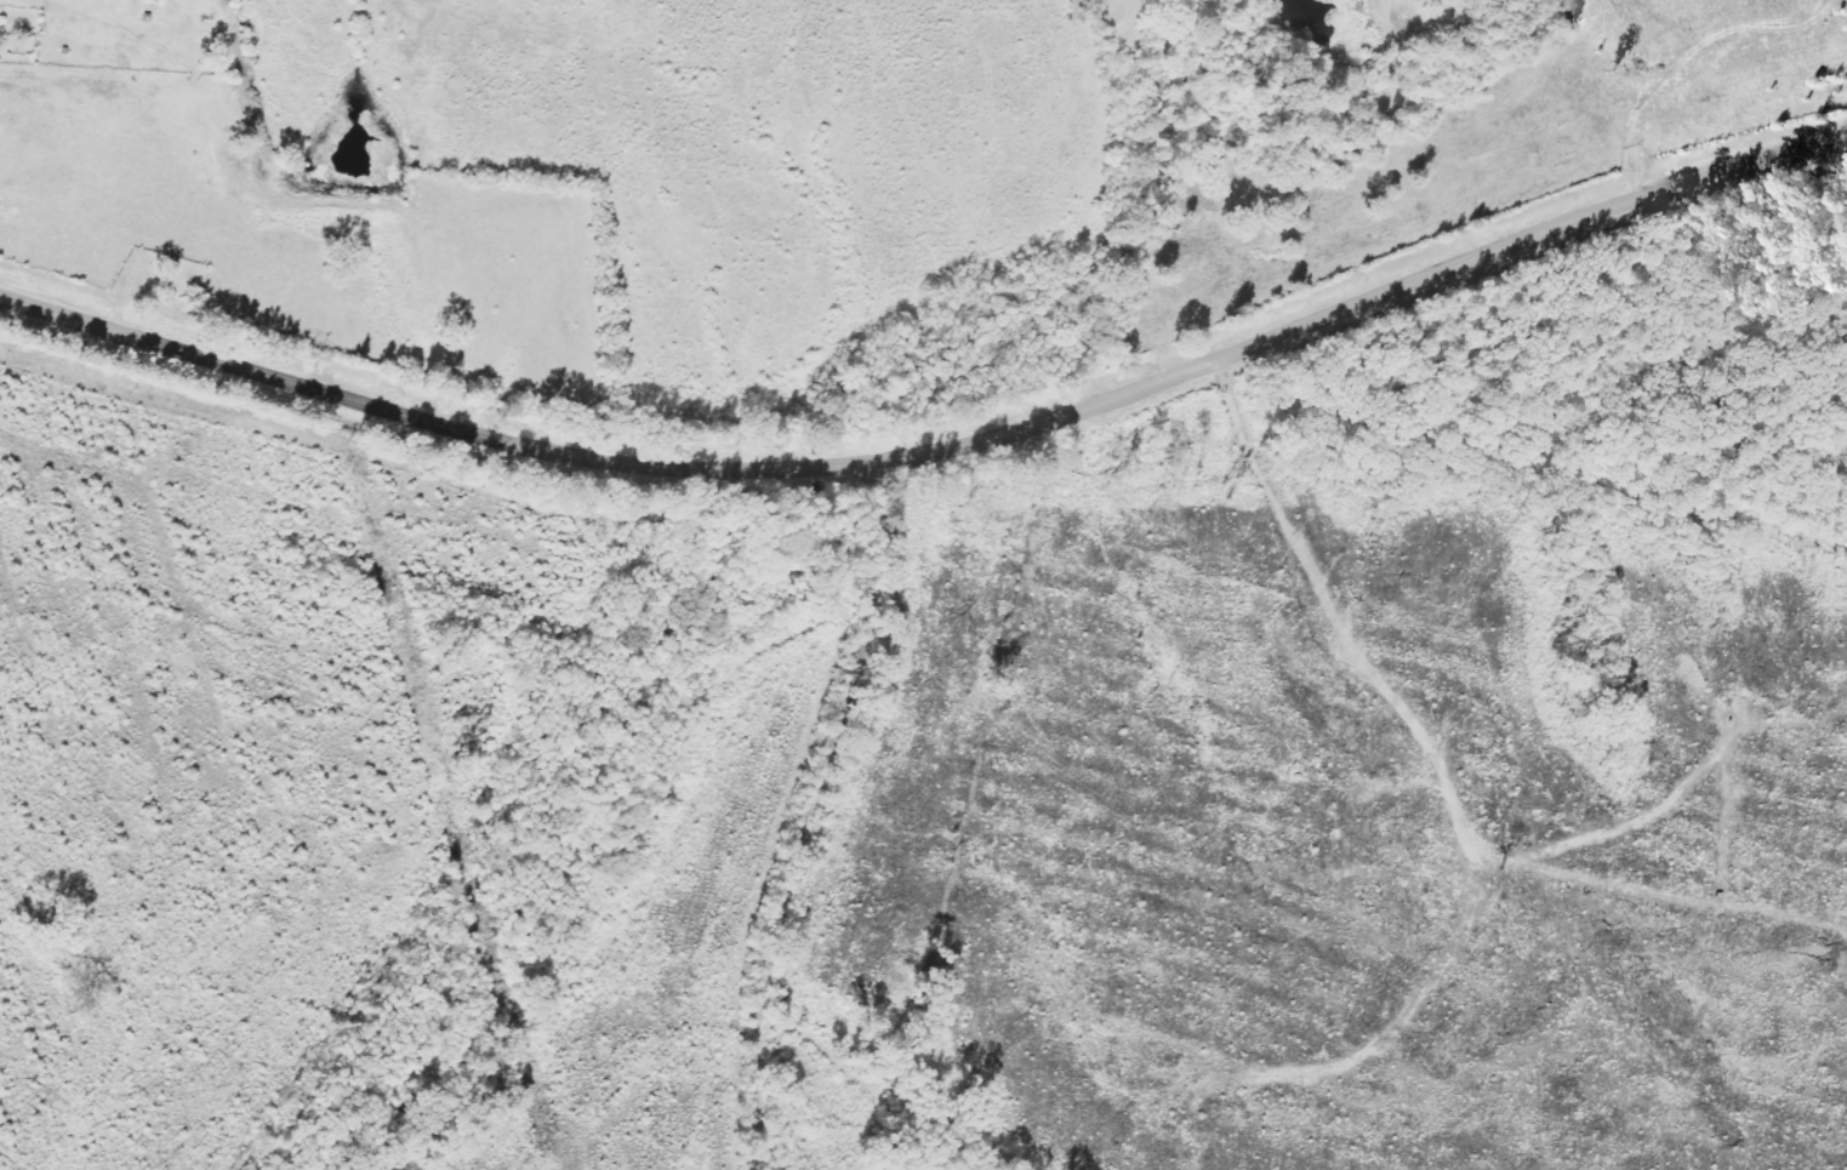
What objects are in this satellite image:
road: (1139, 200)
road: (936, 452)
road: (843, 820)

